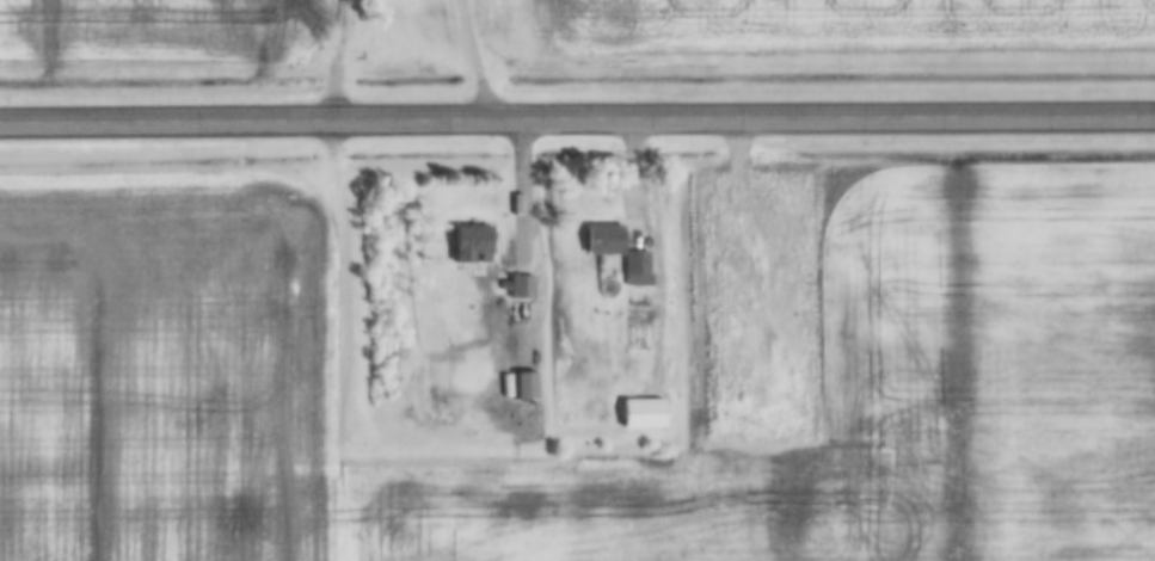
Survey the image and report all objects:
crop: (841, 25)
crop: (159, 27)
road: (471, 58)
road: (577, 117)
road: (520, 191)
building: (604, 238)
building: (471, 242)
building: (637, 261)
building: (522, 285)
crop: (919, 351)
building: (526, 383)
building: (643, 411)

